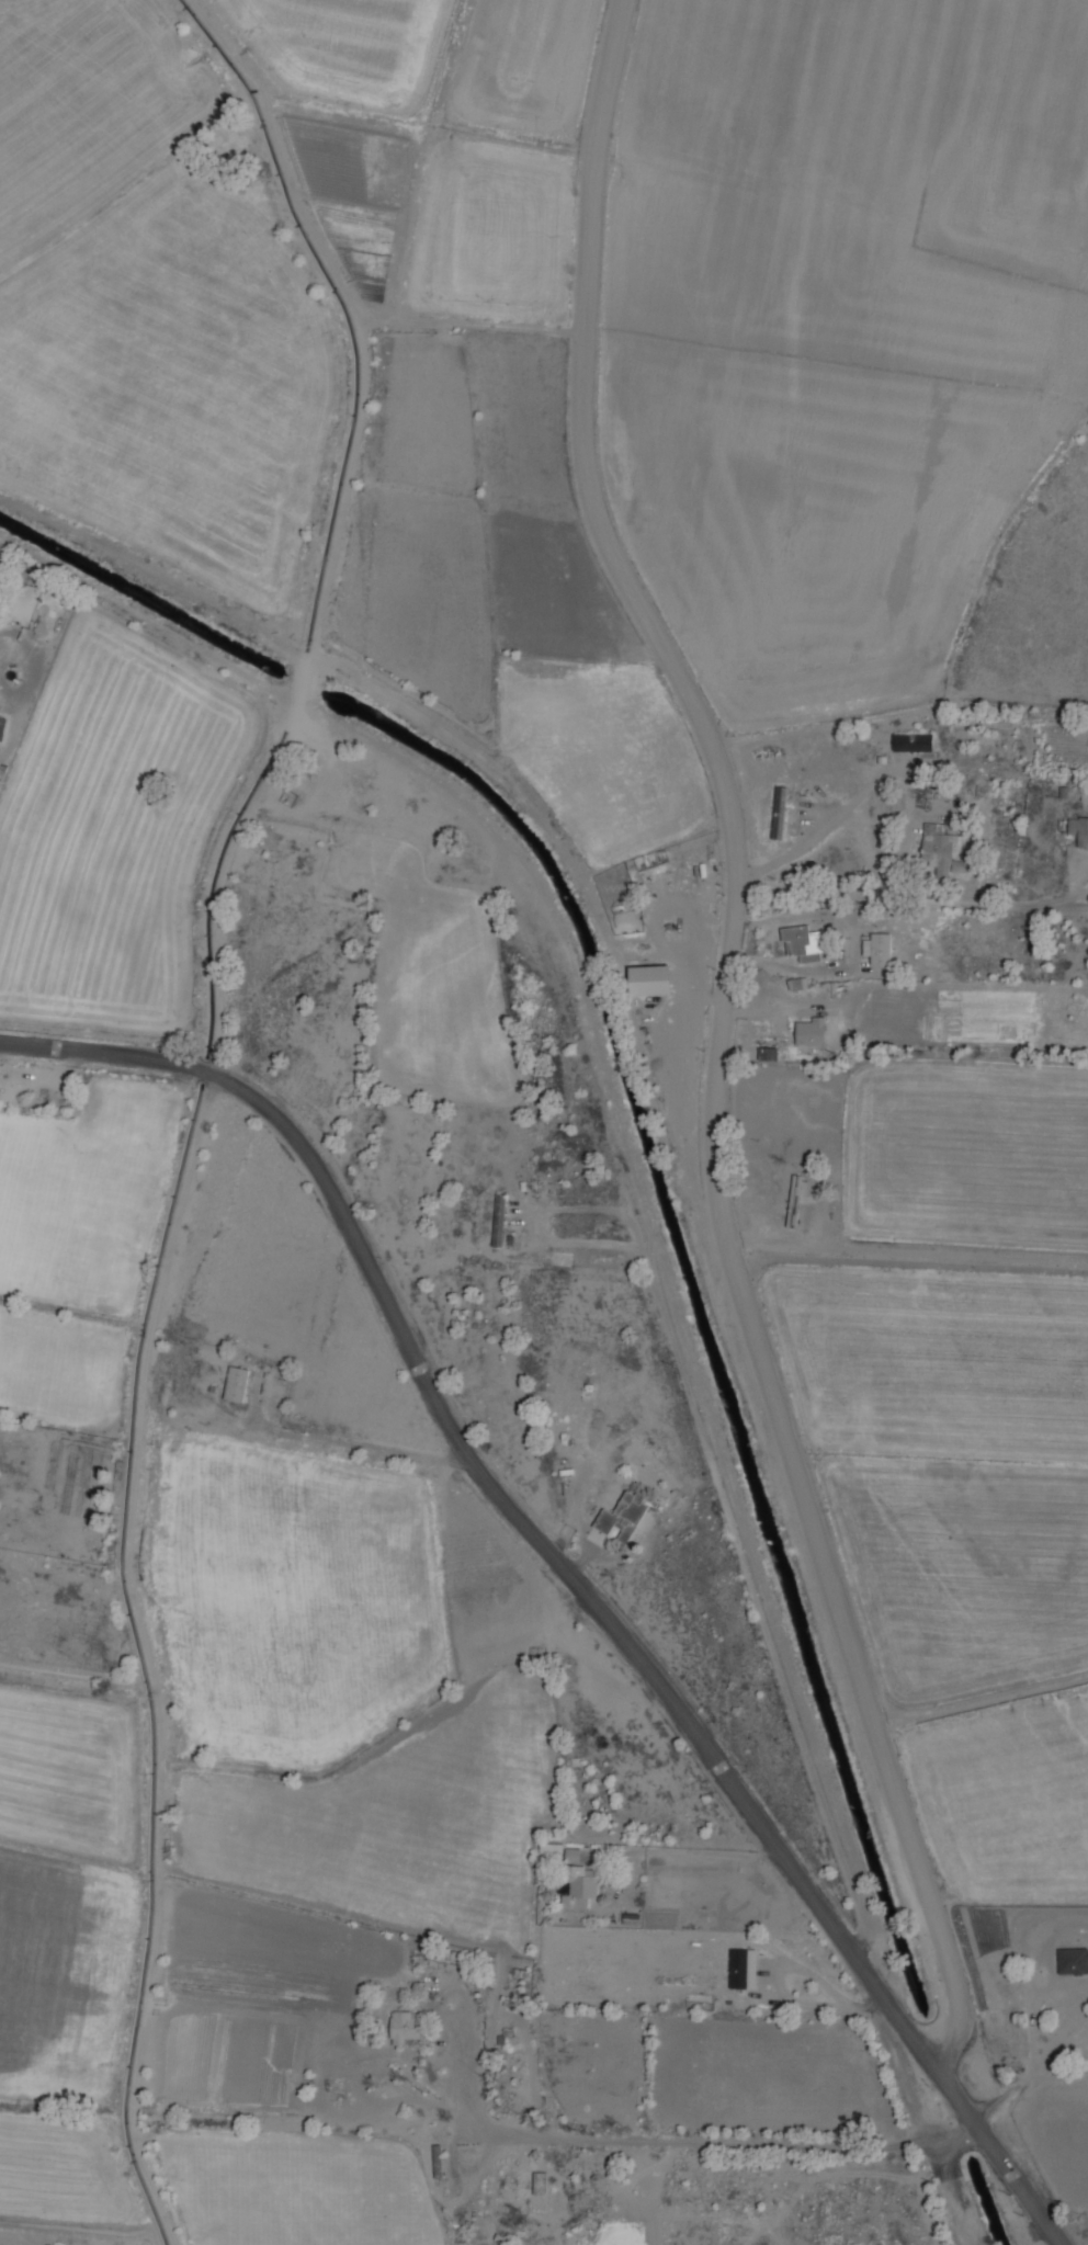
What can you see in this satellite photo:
road: (630, 0)
road: (340, 525)
building: (2, 727)
building: (913, 742)
building: (779, 813)
building: (938, 848)
building: (804, 942)
building: (877, 949)
building: (649, 979)
building: (811, 1031)
road: (45, 1047)
road: (713, 1085)
building: (796, 1195)
building: (499, 1220)
building: (236, 1383)
building: (623, 1516)
road: (605, 1611)
building: (551, 1848)
building: (578, 1882)
building: (1073, 1961)
building: (743, 1969)
building: (405, 2028)
road: (657, 2143)

